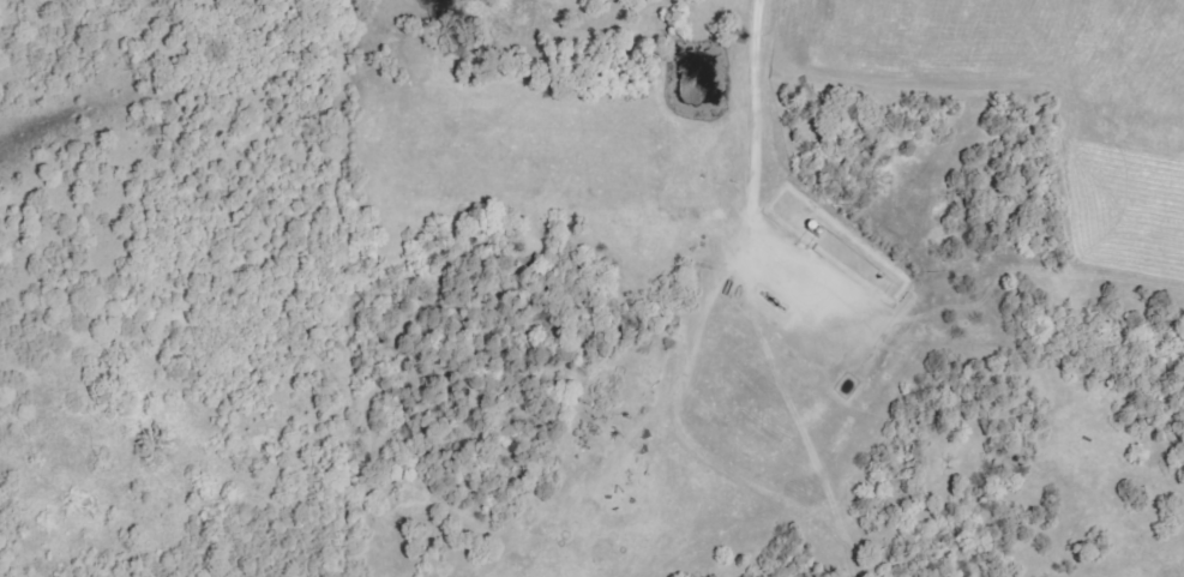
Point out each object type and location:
road: (755, 145)
petroleum well: (768, 297)

